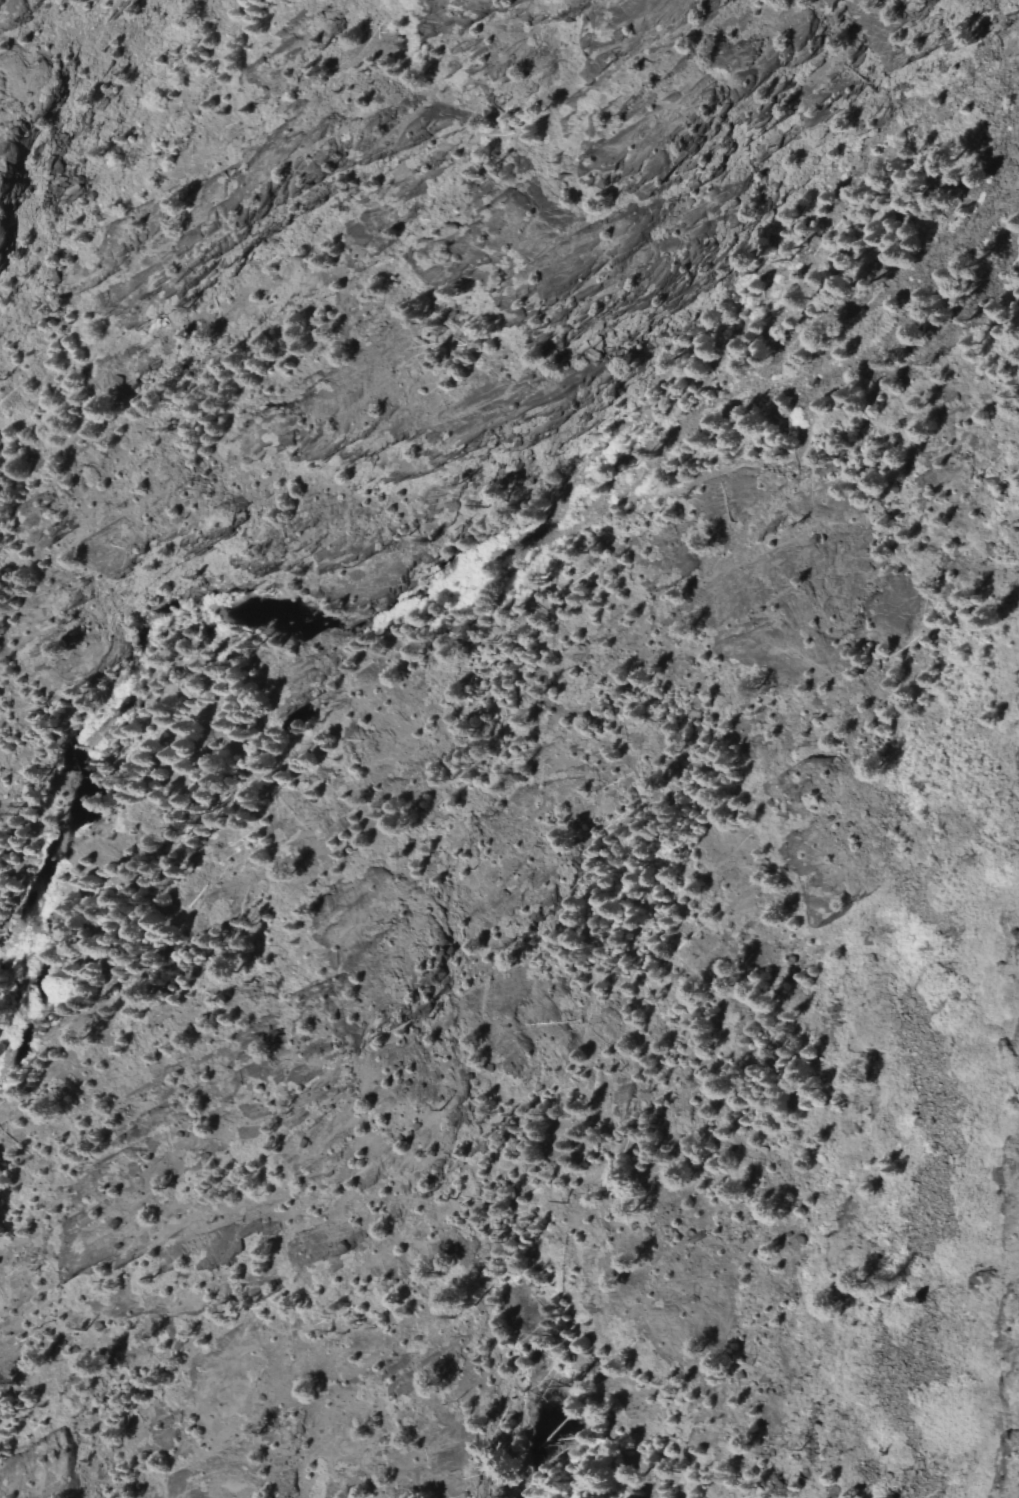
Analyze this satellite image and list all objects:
river: (465, 561)

